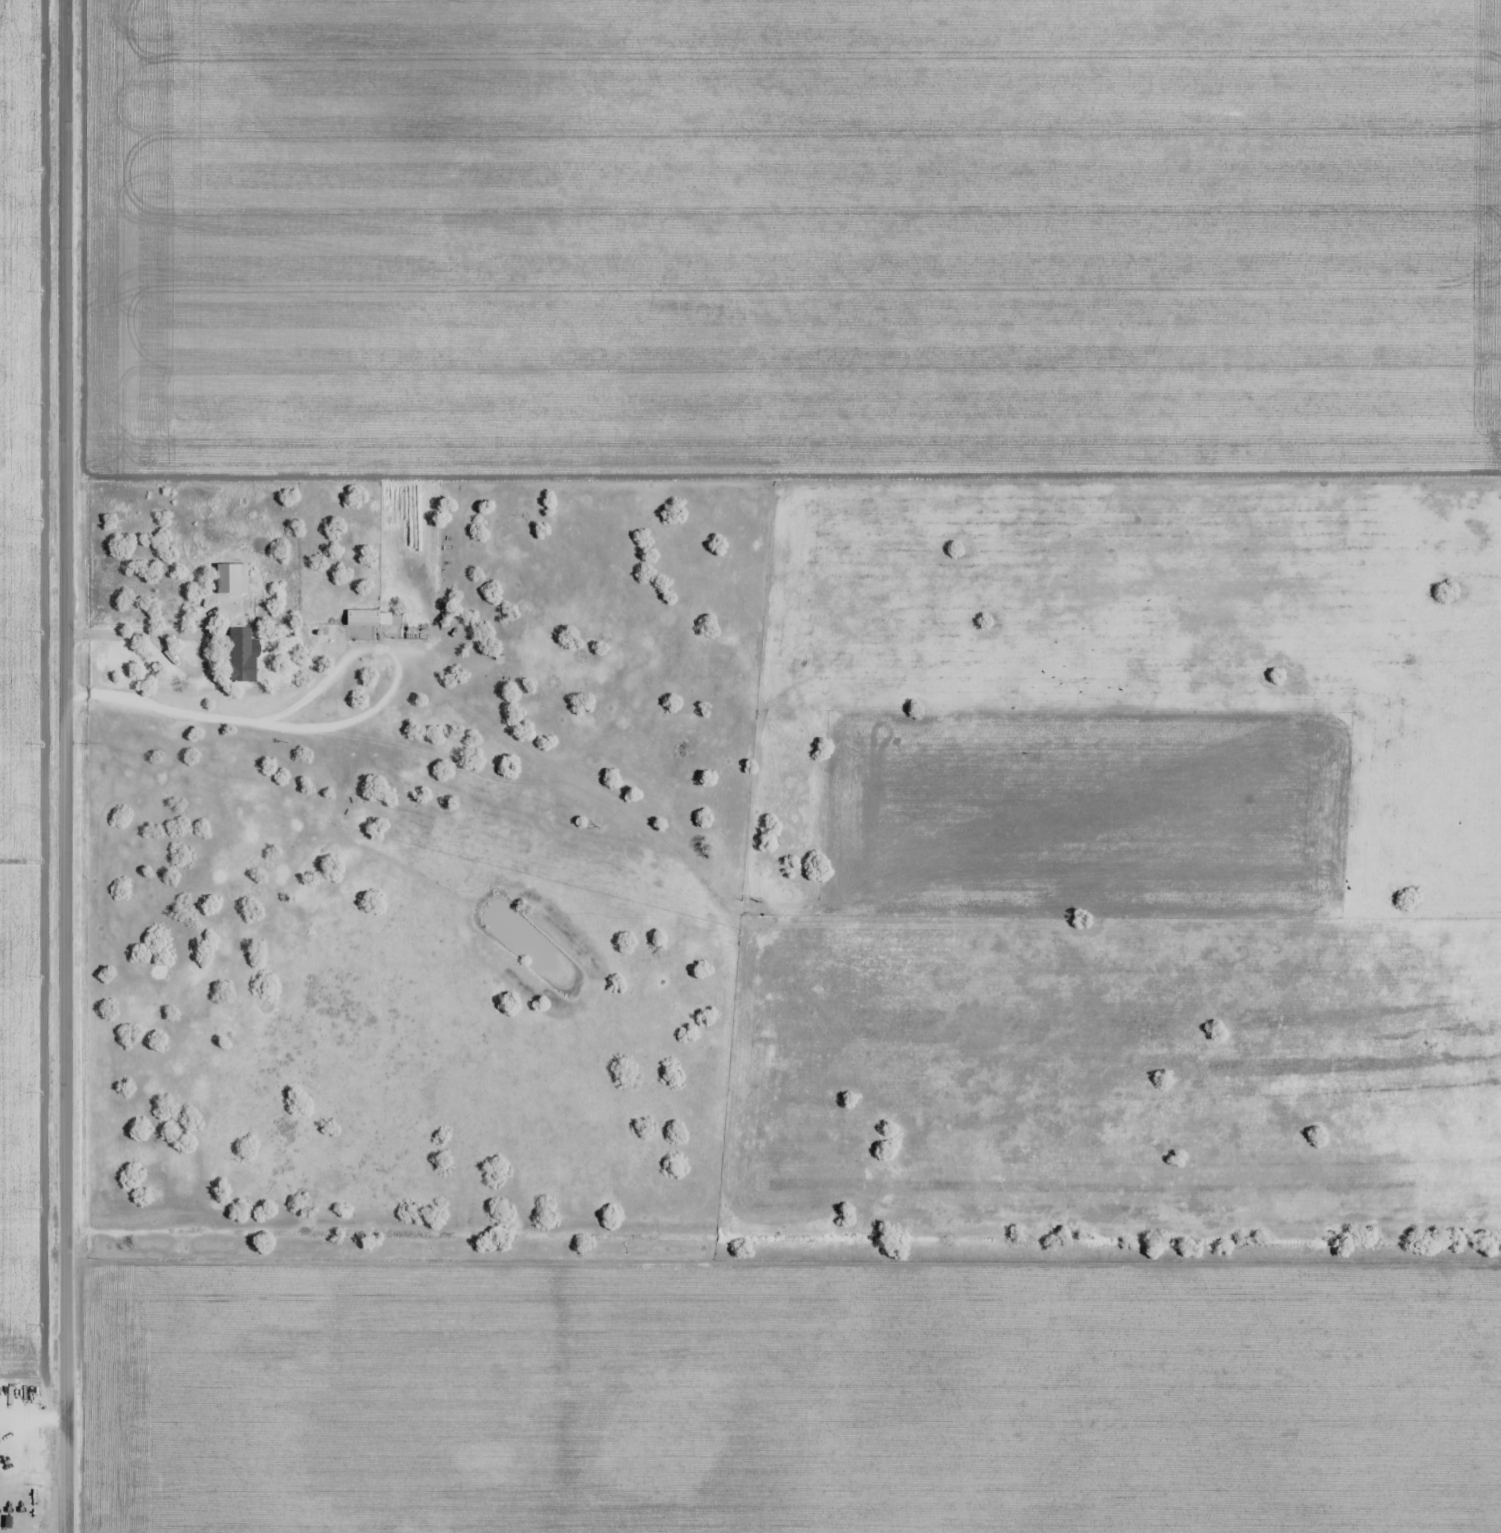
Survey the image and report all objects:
building: (233, 579)
building: (375, 619)
building: (243, 657)
road: (66, 766)

